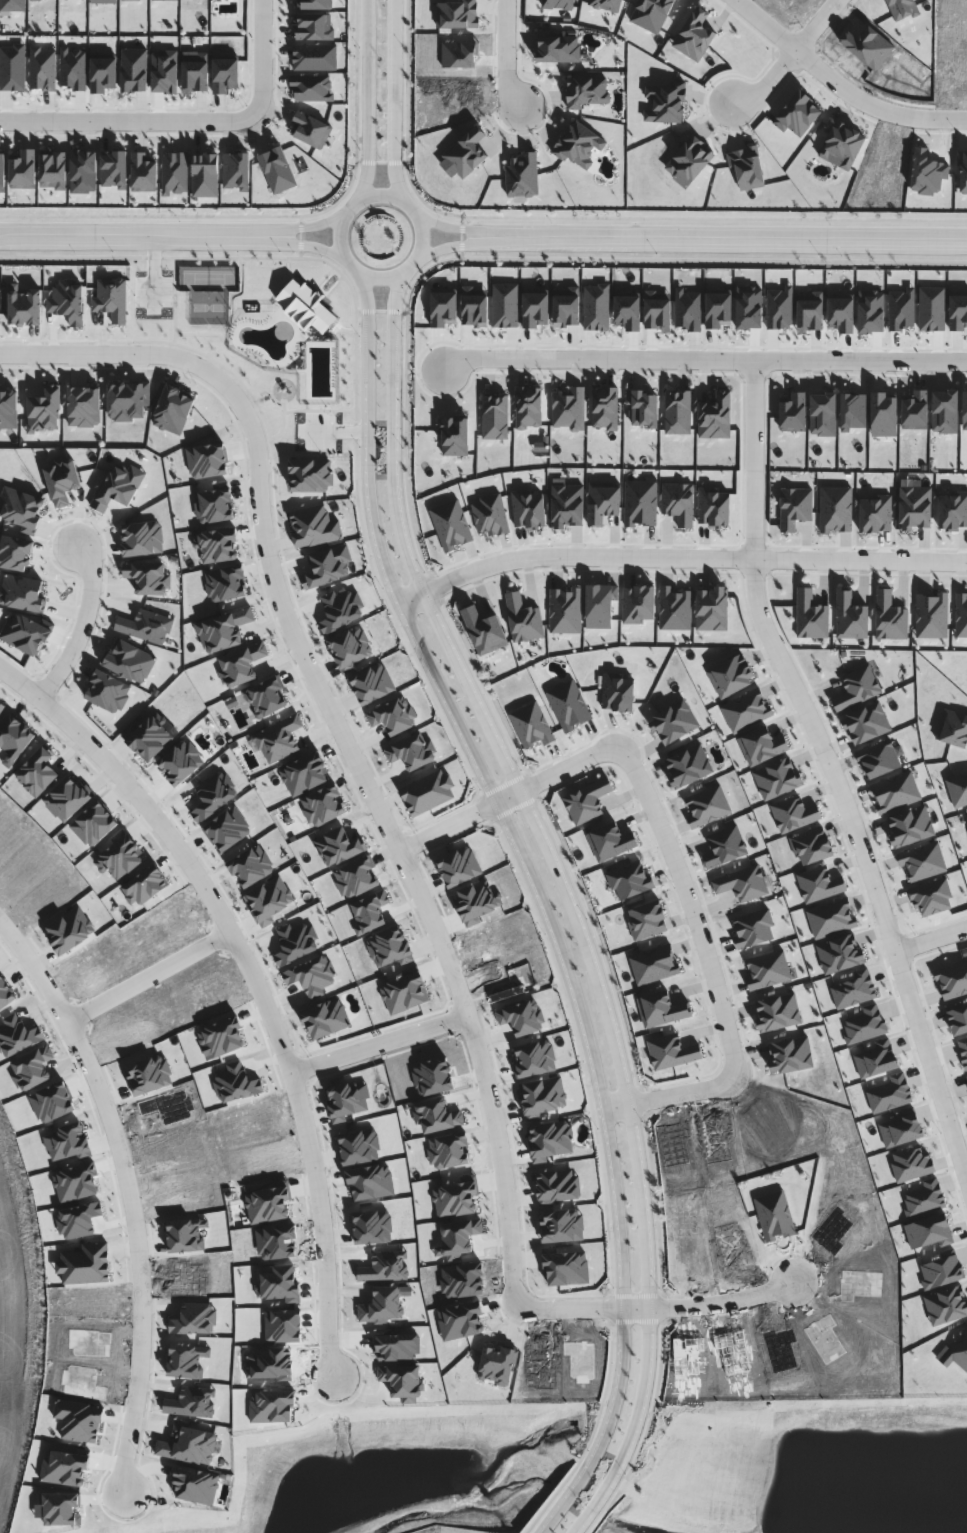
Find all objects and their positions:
road: (506, 55)
road: (262, 56)
road: (789, 56)
road: (839, 86)
road: (367, 100)
road: (392, 103)
road: (128, 122)
road: (314, 225)
road: (451, 228)
road: (140, 236)
road: (728, 239)
road: (451, 246)
road: (313, 247)
road: (398, 271)
road: (133, 353)
road: (702, 364)
road: (752, 463)
road: (678, 557)
road: (80, 624)
road: (333, 719)
road: (826, 753)
road: (506, 798)
road: (175, 848)
road: (565, 893)
road: (539, 901)
road: (690, 907)
road: (931, 938)
road: (147, 975)
road: (379, 1042)
road: (931, 1061)
road: (669, 1094)
road: (498, 1158)
road: (123, 1186)
road: (320, 1218)
road: (708, 1304)
road: (570, 1310)
crop: (17, 1328)

